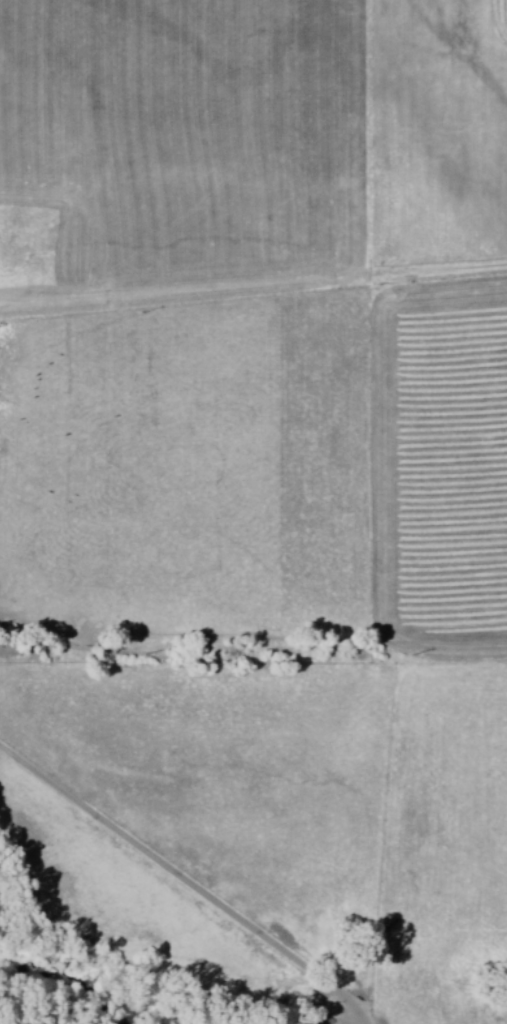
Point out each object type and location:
road: (187, 880)

